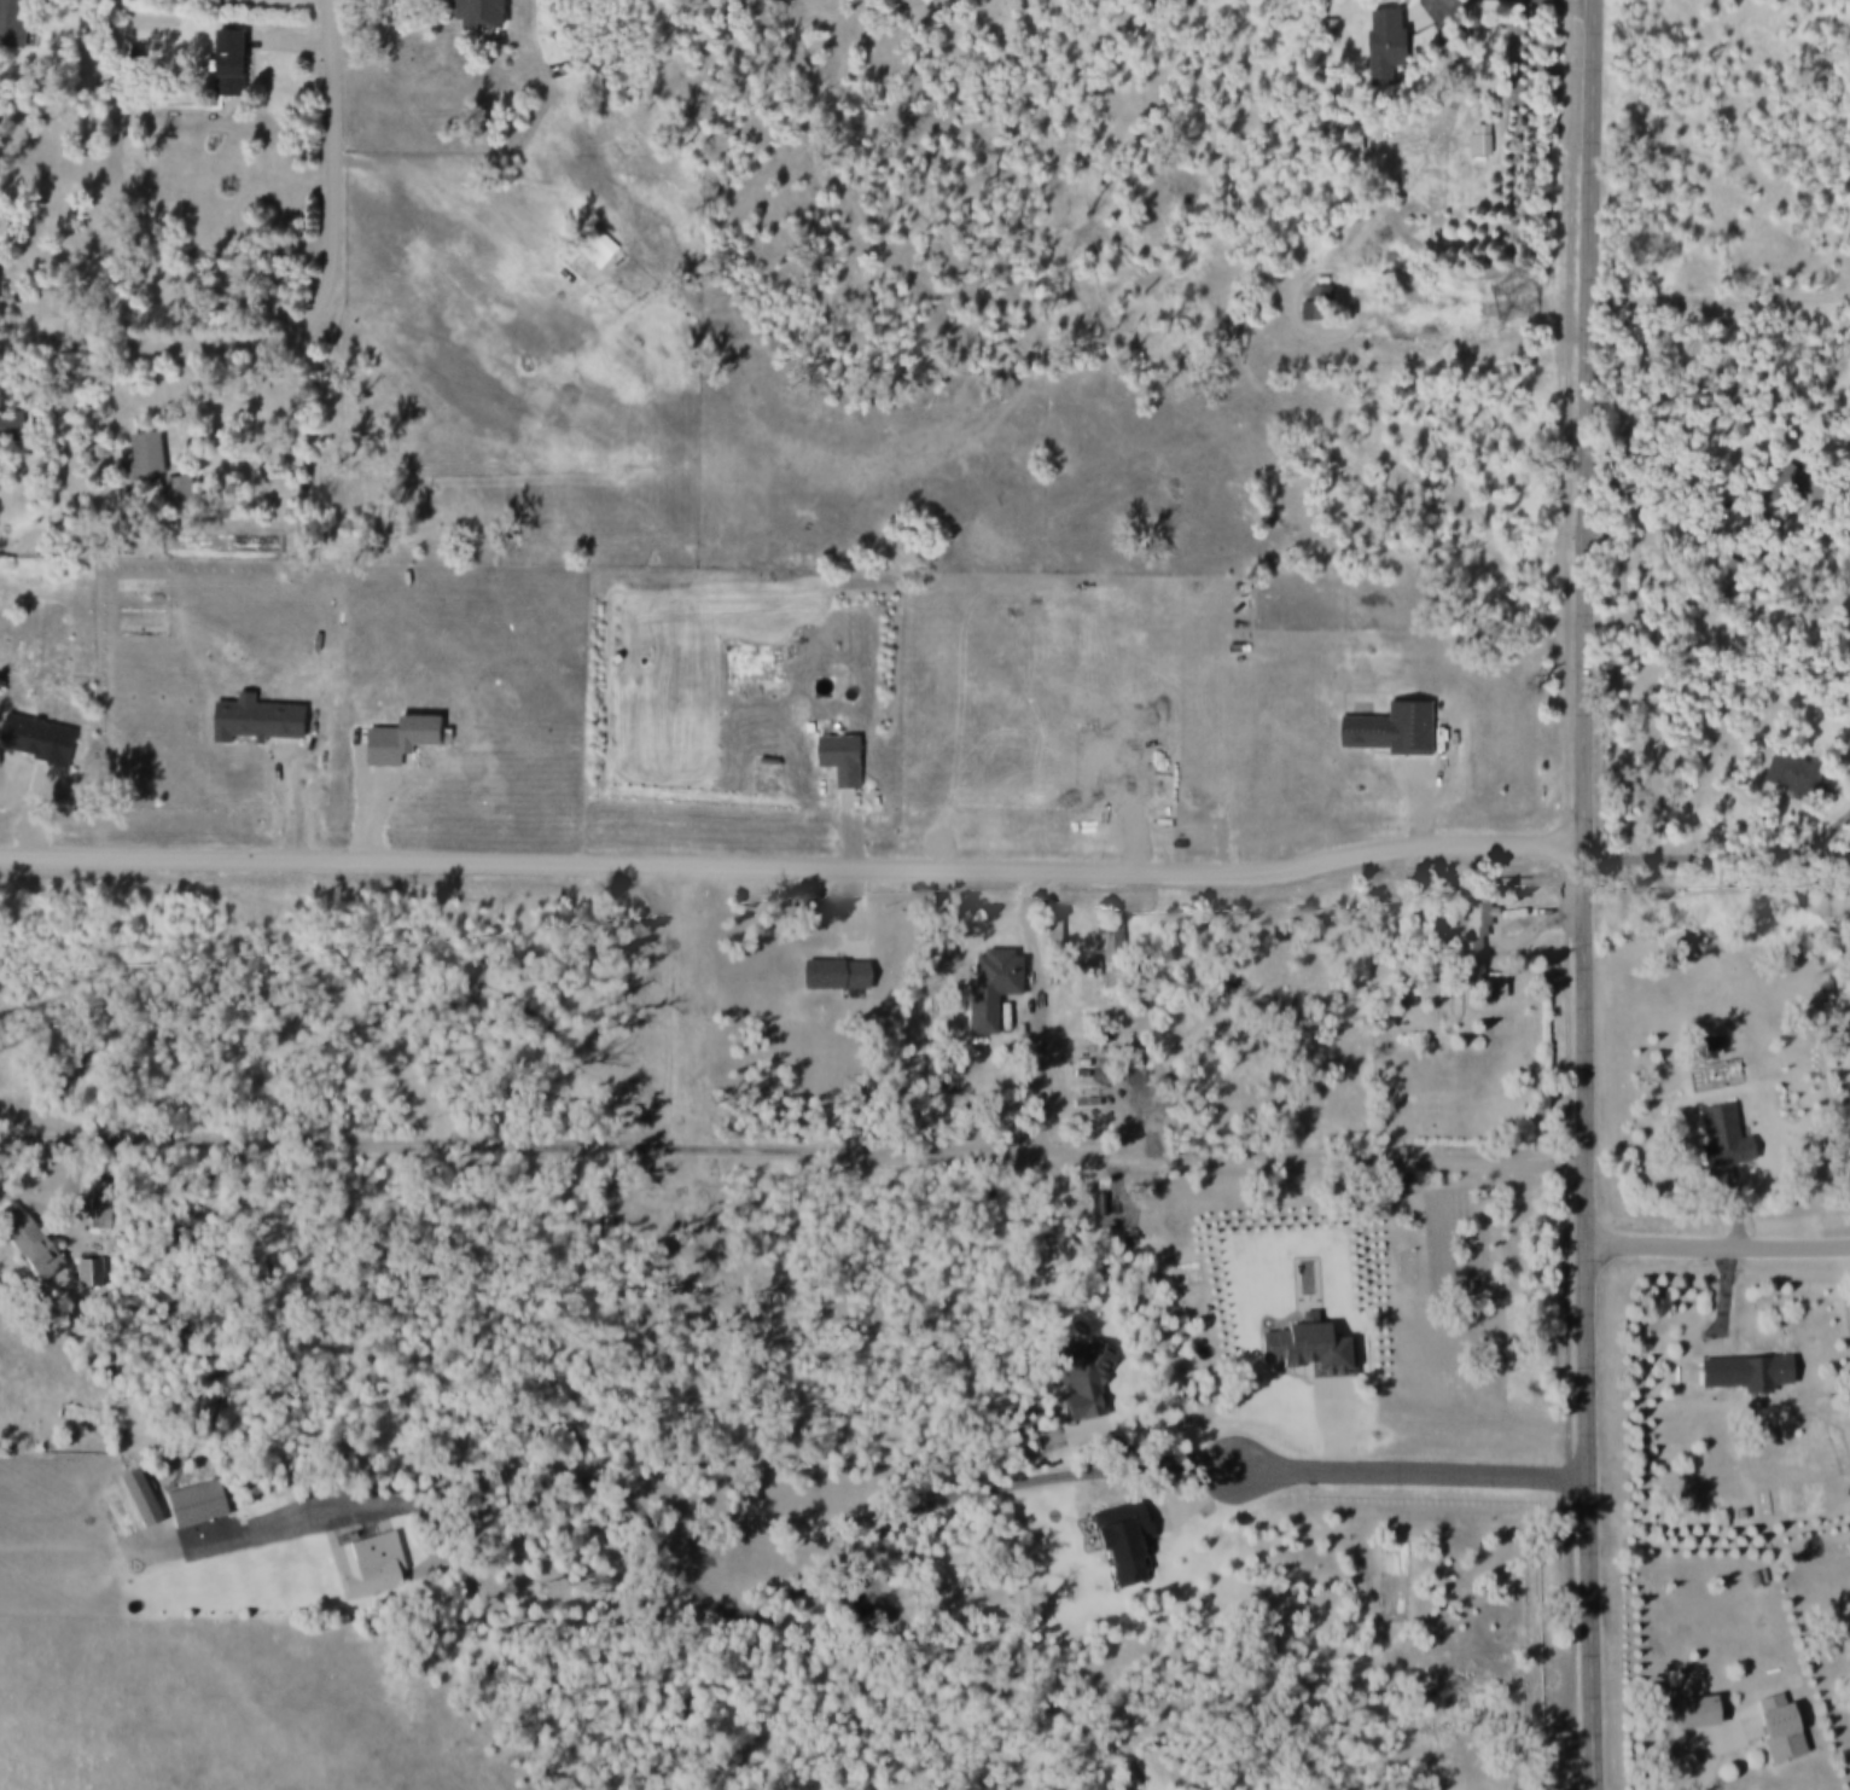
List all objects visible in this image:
road: (1575, 2)
building: (206, 6)
building: (477, 16)
road: (330, 18)
building: (13, 24)
building: (1386, 53)
building: (229, 68)
road: (441, 140)
building: (1480, 146)
building: (592, 248)
building: (1, 280)
building: (50, 306)
power tower: (1519, 308)
building: (1310, 316)
road: (302, 336)
building: (12, 431)
building: (149, 459)
building: (630, 617)
building: (848, 761)
building: (1788, 777)
road: (764, 842)
road: (1582, 895)
building: (1115, 934)
building: (1467, 937)
building: (996, 989)
building: (1718, 1137)
road: (792, 1151)
building: (33, 1238)
road: (1717, 1250)
building: (1739, 1373)
building: (145, 1498)
building: (200, 1503)
road: (859, 1550)
building: (377, 1564)
building: (1691, 1713)
building: (1775, 1732)

